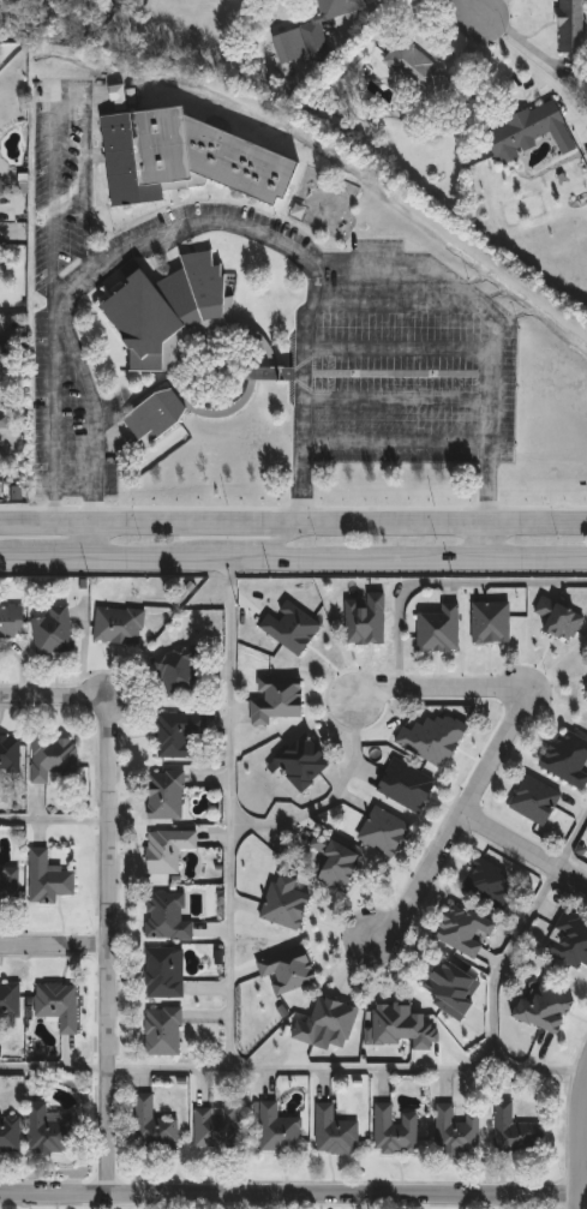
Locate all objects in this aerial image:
road: (466, 10)
building: (573, 26)
building: (312, 31)
building: (420, 72)
building: (529, 131)
building: (187, 160)
building: (0, 196)
road: (54, 202)
building: (4, 253)
road: (299, 257)
road: (366, 259)
road: (395, 303)
building: (169, 311)
road: (59, 316)
road: (399, 347)
building: (5, 348)
building: (263, 373)
road: (490, 378)
parking lot: (387, 379)
road: (92, 400)
road: (397, 400)
building: (157, 417)
building: (5, 425)
road: (396, 442)
road: (73, 490)
road: (91, 507)
road: (293, 527)
road: (89, 539)
road: (283, 541)
road: (489, 541)
road: (8, 556)
road: (53, 556)
road: (149, 556)
road: (246, 556)
road: (435, 556)
road: (445, 582)
building: (559, 618)
building: (366, 620)
building: (491, 621)
building: (12, 622)
building: (120, 624)
building: (290, 627)
building: (442, 629)
building: (54, 632)
building: (181, 670)
road: (437, 688)
building: (586, 688)
building: (277, 699)
building: (180, 735)
building: (432, 738)
building: (11, 754)
building: (54, 758)
building: (568, 758)
building: (305, 762)
building: (407, 785)
building: (167, 796)
building: (535, 800)
road: (328, 802)
road: (53, 820)
road: (455, 825)
building: (384, 831)
road: (523, 849)
building: (169, 850)
building: (336, 862)
building: (49, 879)
building: (491, 885)
building: (10, 886)
road: (106, 888)
building: (284, 903)
building: (168, 916)
building: (466, 930)
road: (516, 935)
building: (570, 941)
road: (53, 947)
building: (288, 969)
building: (166, 974)
road: (228, 986)
building: (453, 989)
building: (11, 1001)
building: (546, 1005)
building: (59, 1006)
building: (328, 1022)
building: (400, 1027)
building: (166, 1033)
road: (53, 1067)
road: (178, 1067)
building: (155, 1127)
building: (218, 1127)
building: (50, 1131)
building: (278, 1131)
building: (459, 1131)
building: (336, 1132)
building: (396, 1132)
building: (516, 1132)
building: (11, 1137)
road: (580, 1143)
road: (289, 1192)

